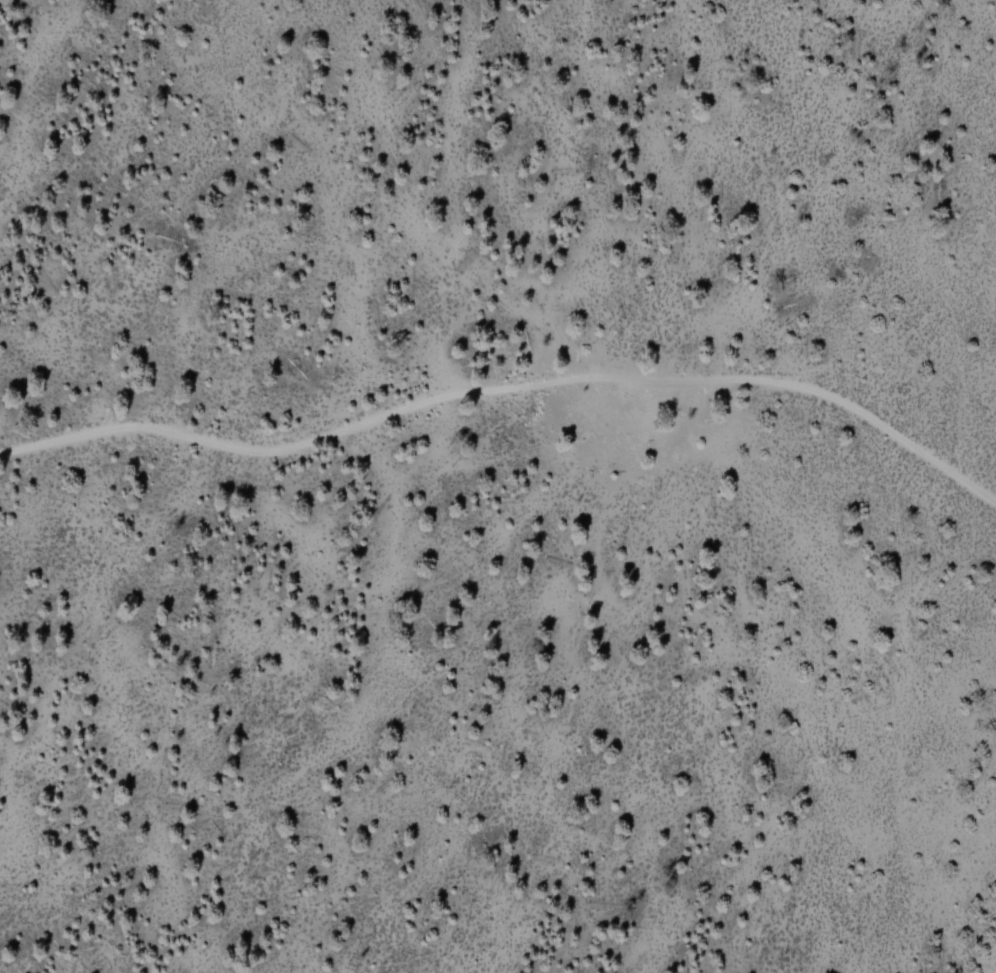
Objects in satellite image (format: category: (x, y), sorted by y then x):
road: (506, 389)

